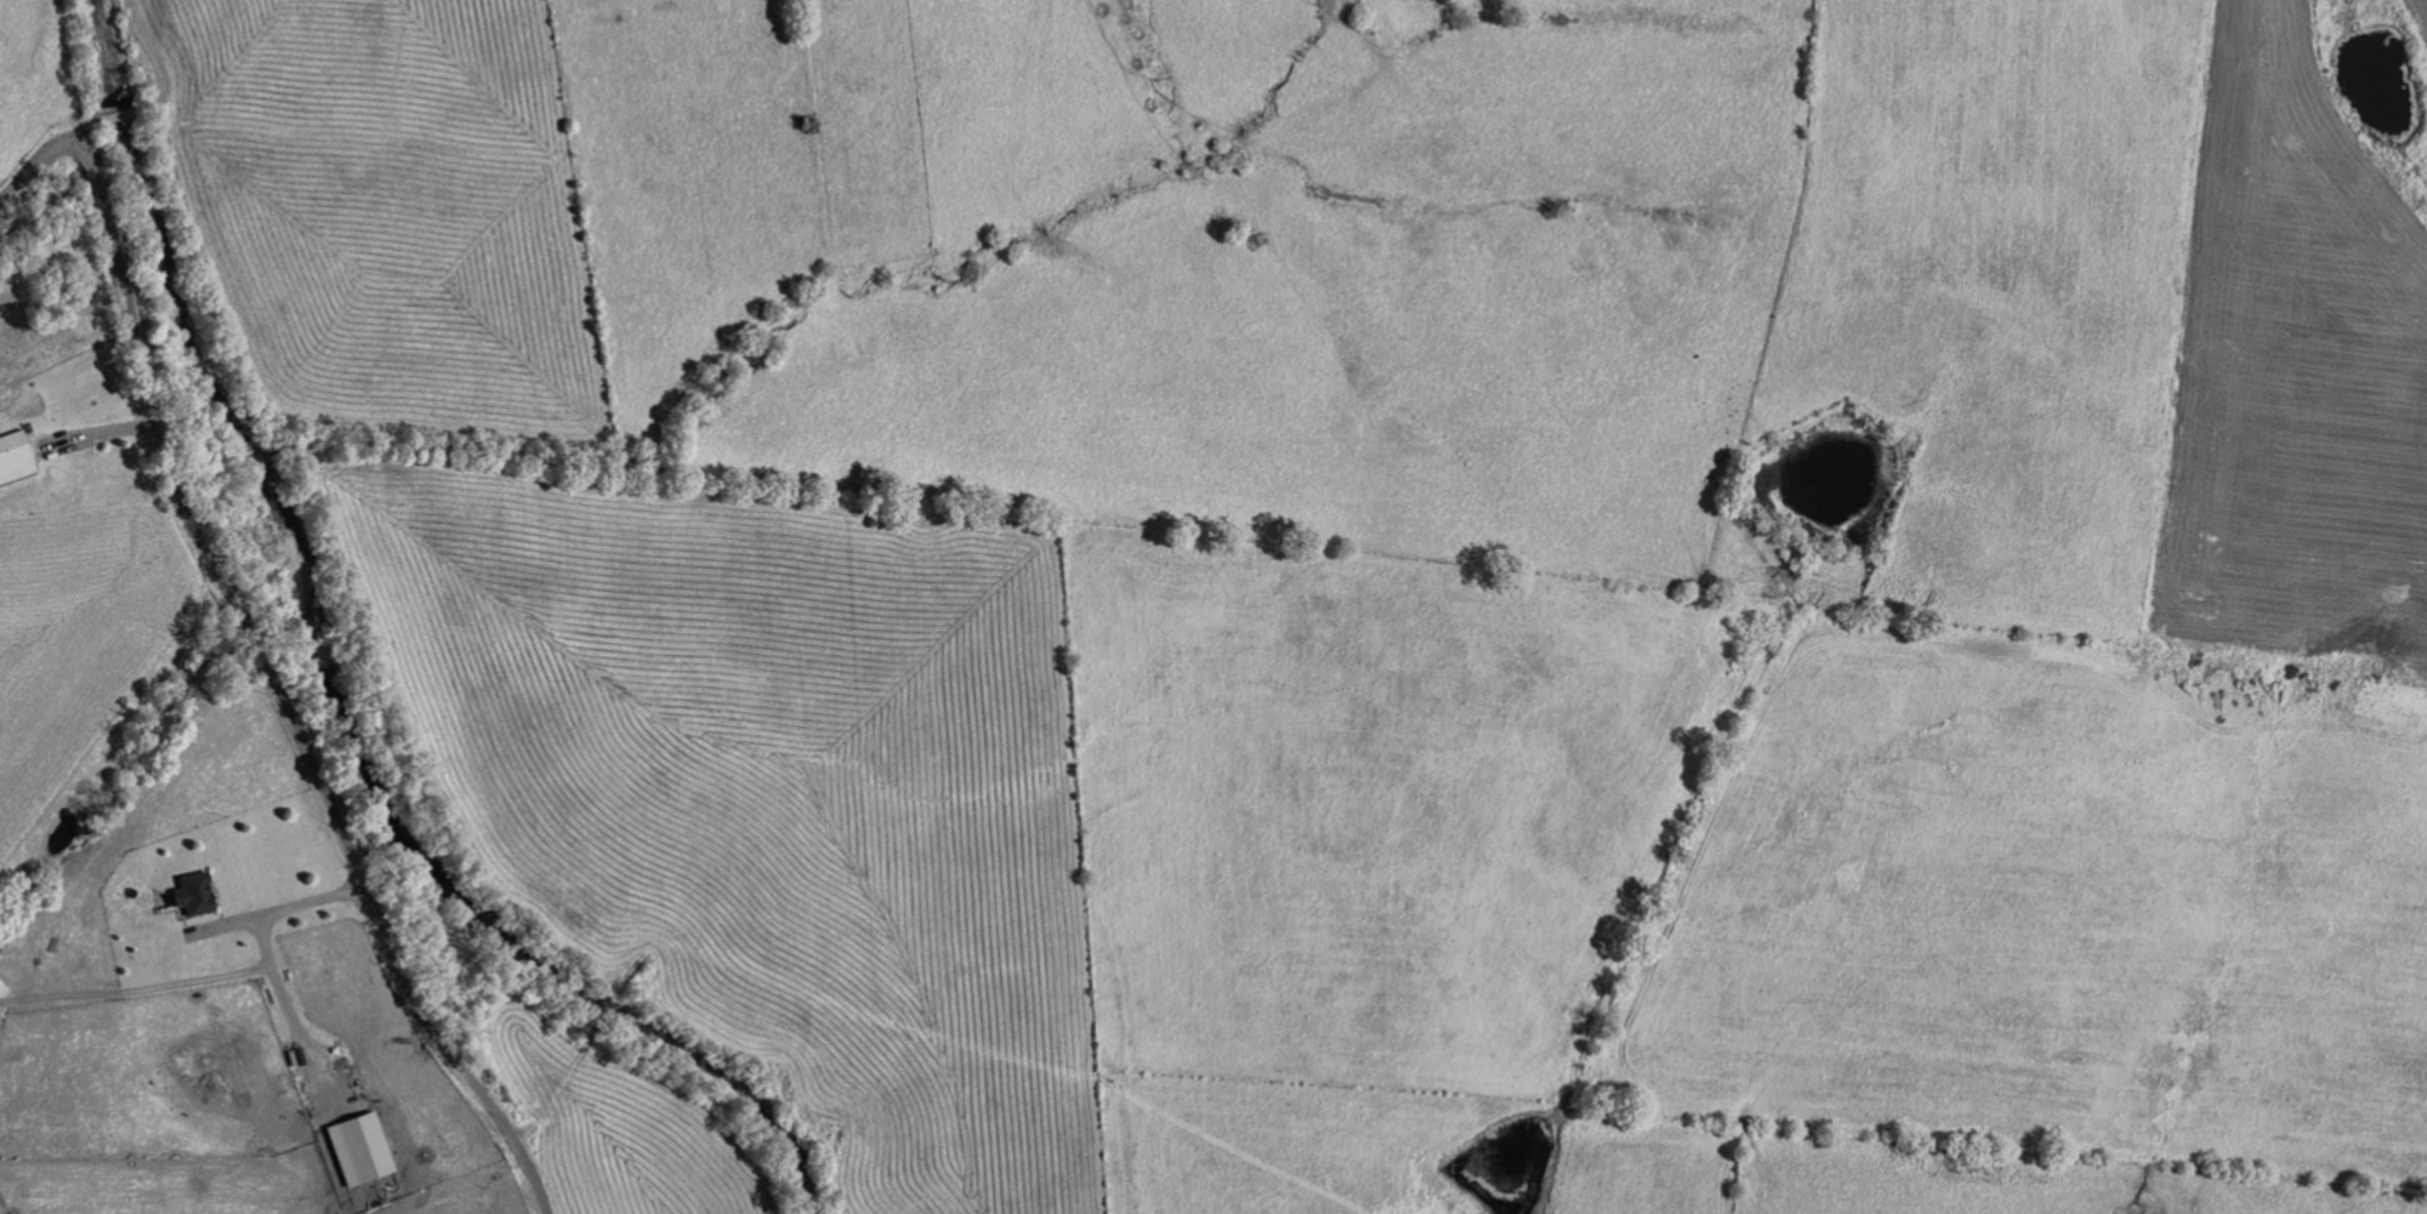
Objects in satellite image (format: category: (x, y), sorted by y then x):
road: (67, 82)
building: (12, 457)
road: (255, 656)
building: (191, 893)
building: (356, 1147)

